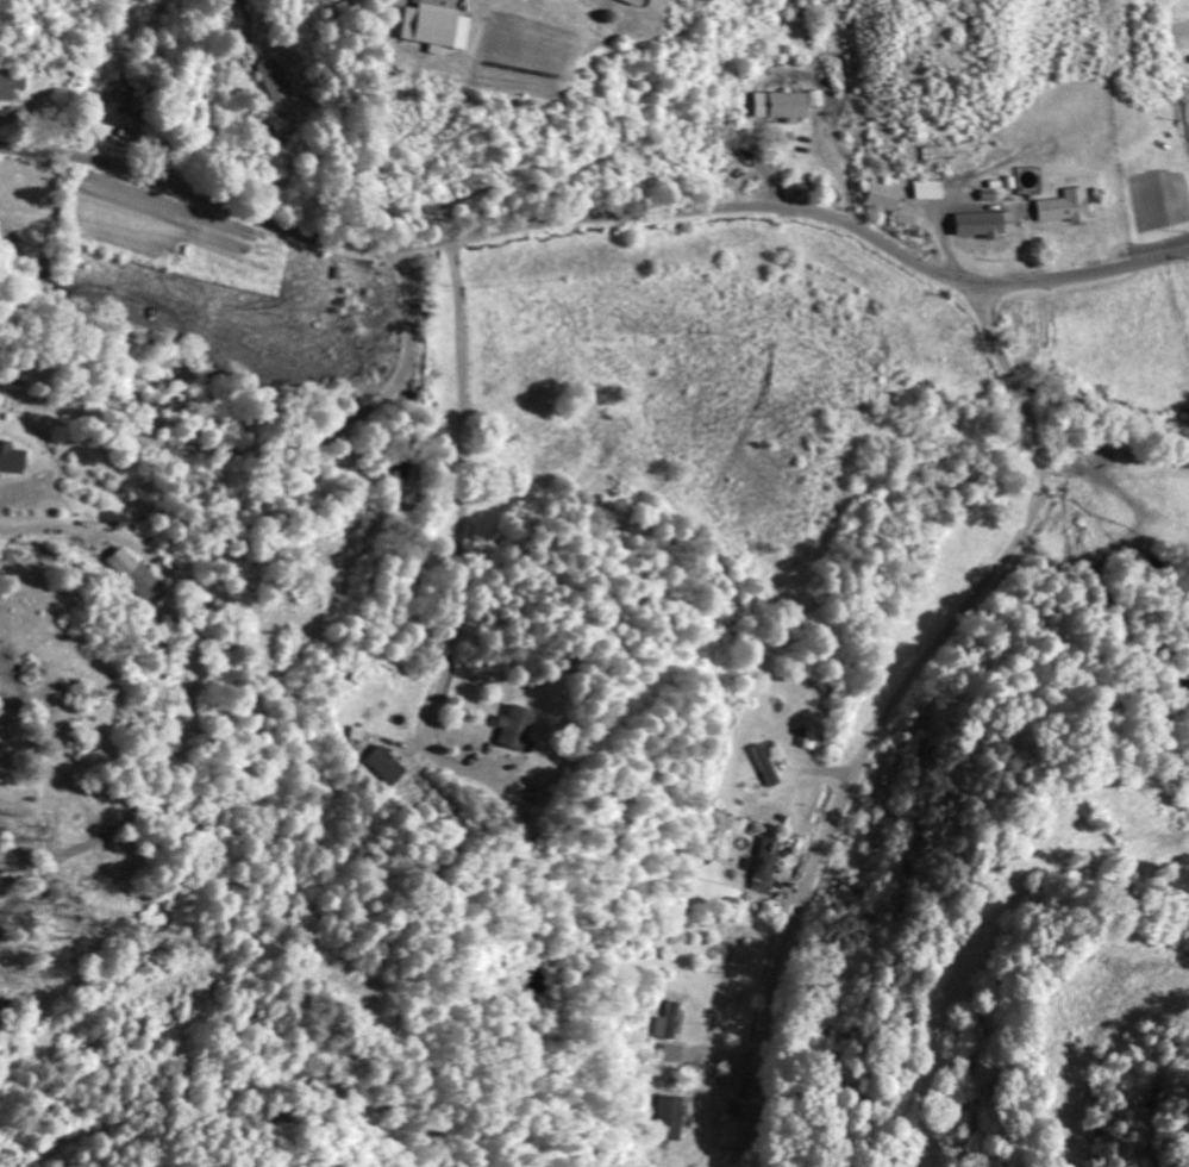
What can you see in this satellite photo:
building: (626, 0)
building: (438, 27)
building: (275, 80)
building: (12, 81)
road: (113, 82)
building: (819, 98)
building: (784, 105)
building: (930, 189)
building: (893, 200)
building: (1066, 206)
road: (595, 217)
building: (988, 224)
road: (1160, 301)
building: (12, 457)
building: (137, 575)
road: (968, 606)
building: (518, 728)
building: (811, 737)
building: (389, 766)
building: (771, 769)
building: (768, 859)
building: (764, 885)
building: (672, 1022)
building: (675, 1117)
building: (737, 1141)

